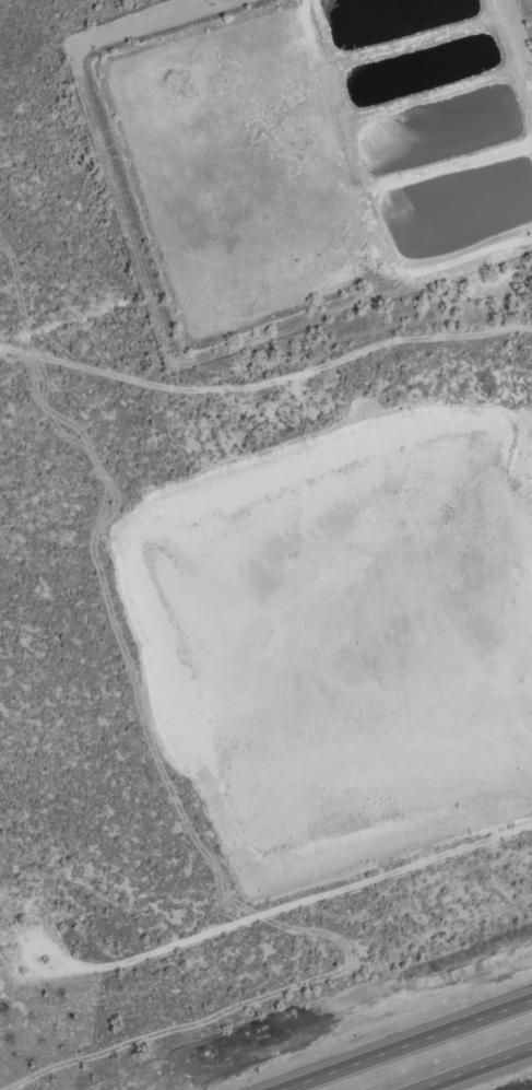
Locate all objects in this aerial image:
wastewater plant: (305, 153)
road: (267, 384)
road: (265, 921)
road: (406, 1044)
road: (474, 1068)

